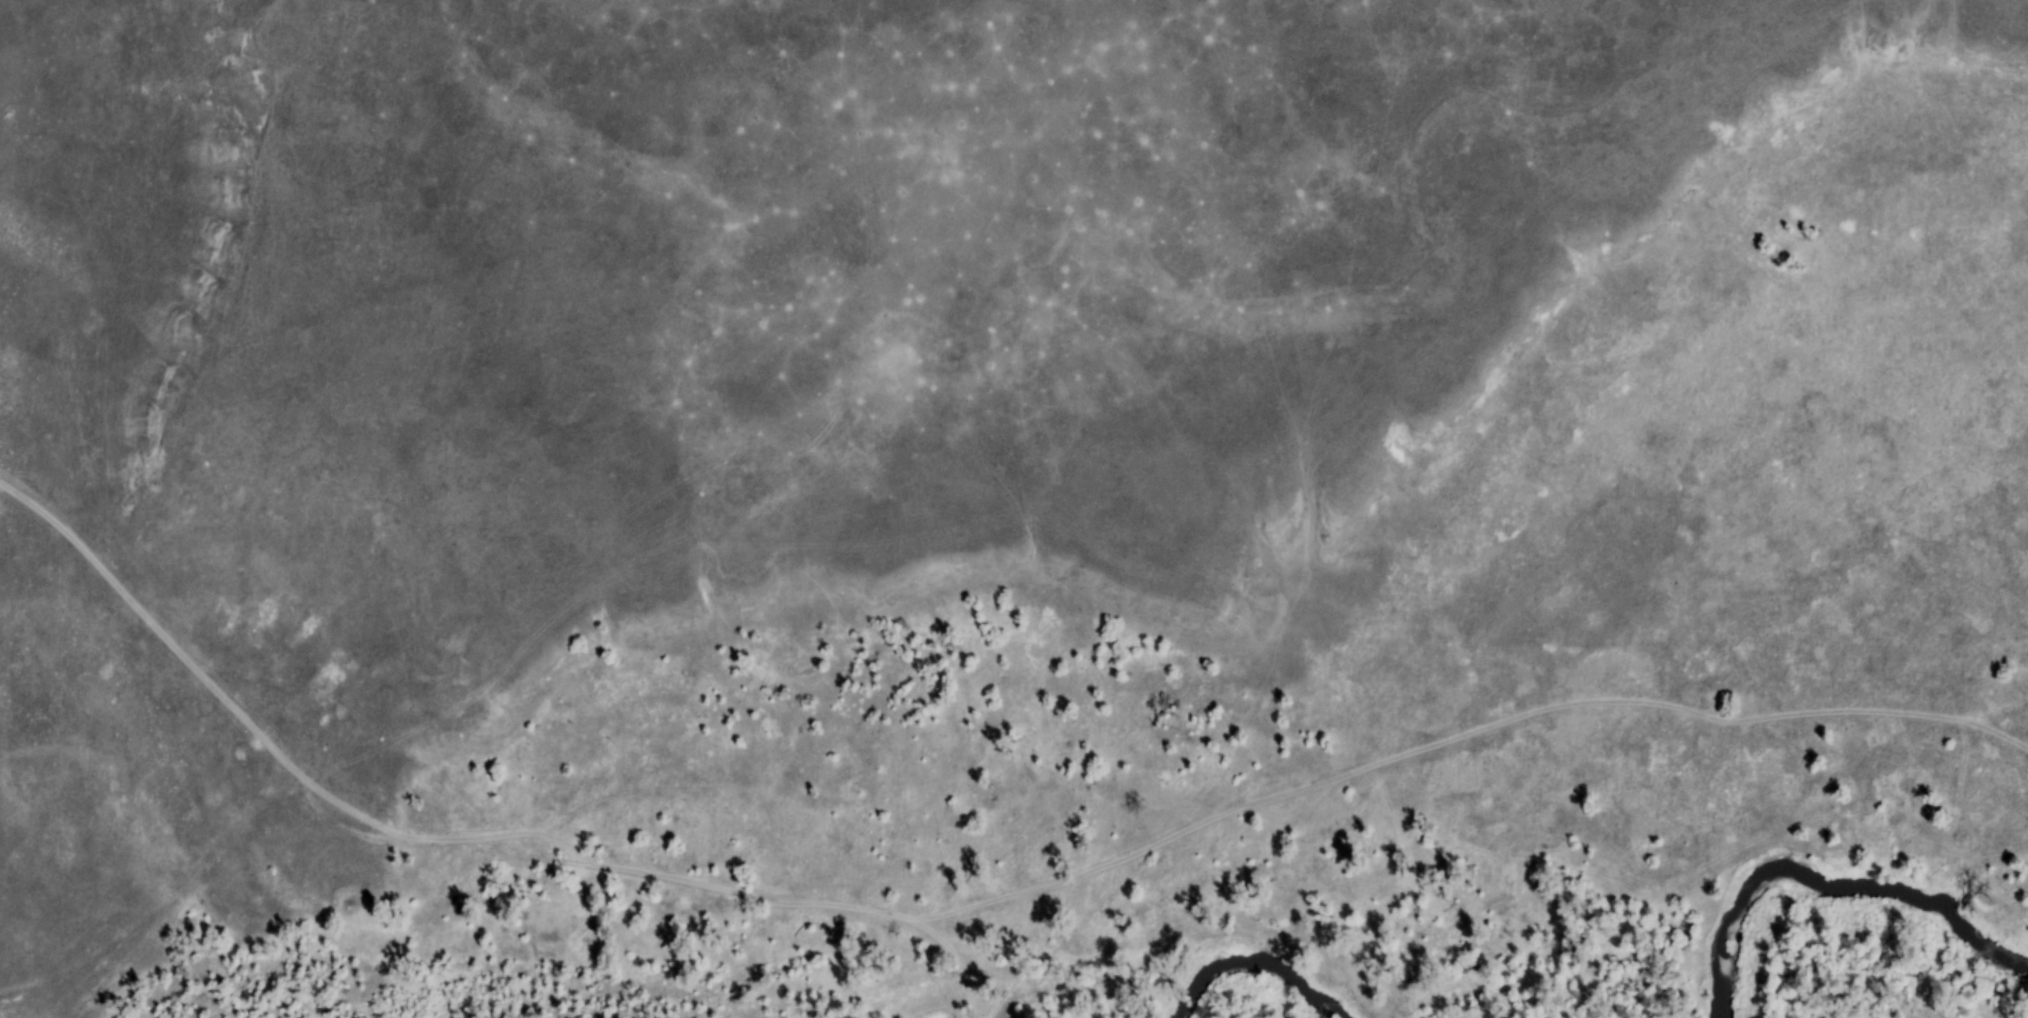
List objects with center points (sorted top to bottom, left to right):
road: (953, 856)
river: (1831, 885)
river: (1253, 962)

